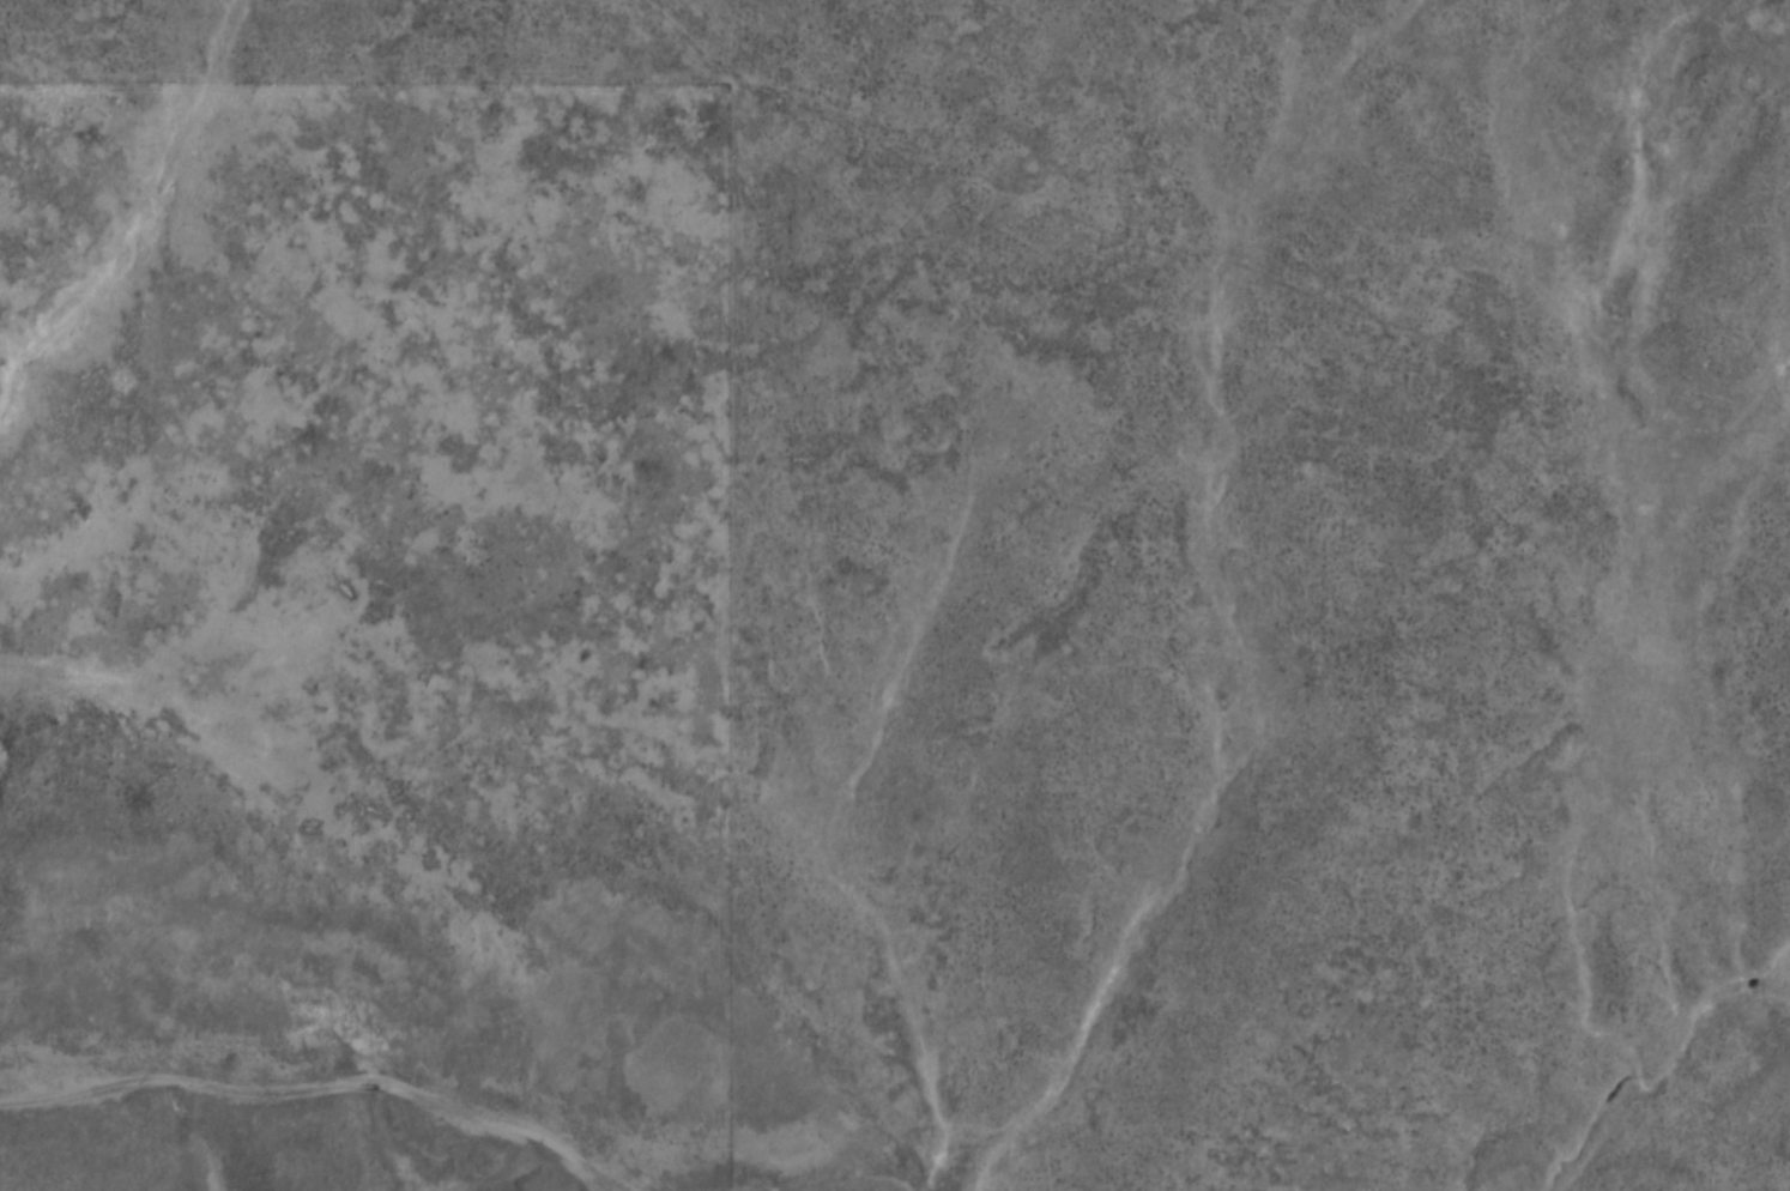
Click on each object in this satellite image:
road: (320, 1093)

